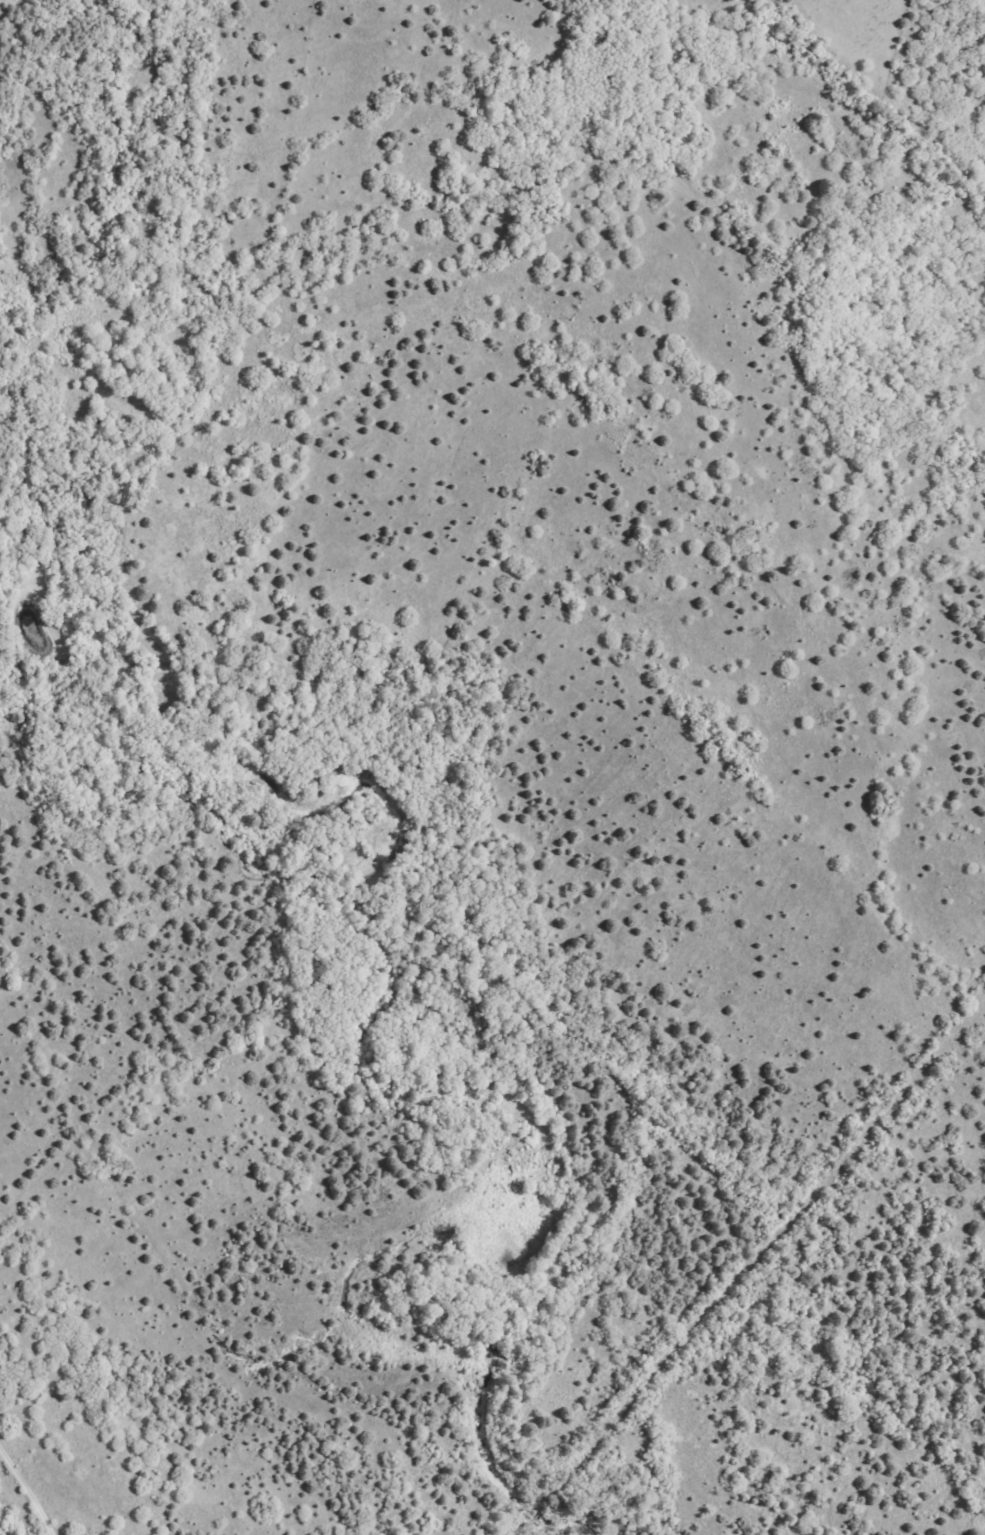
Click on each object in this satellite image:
road: (24, 1490)

